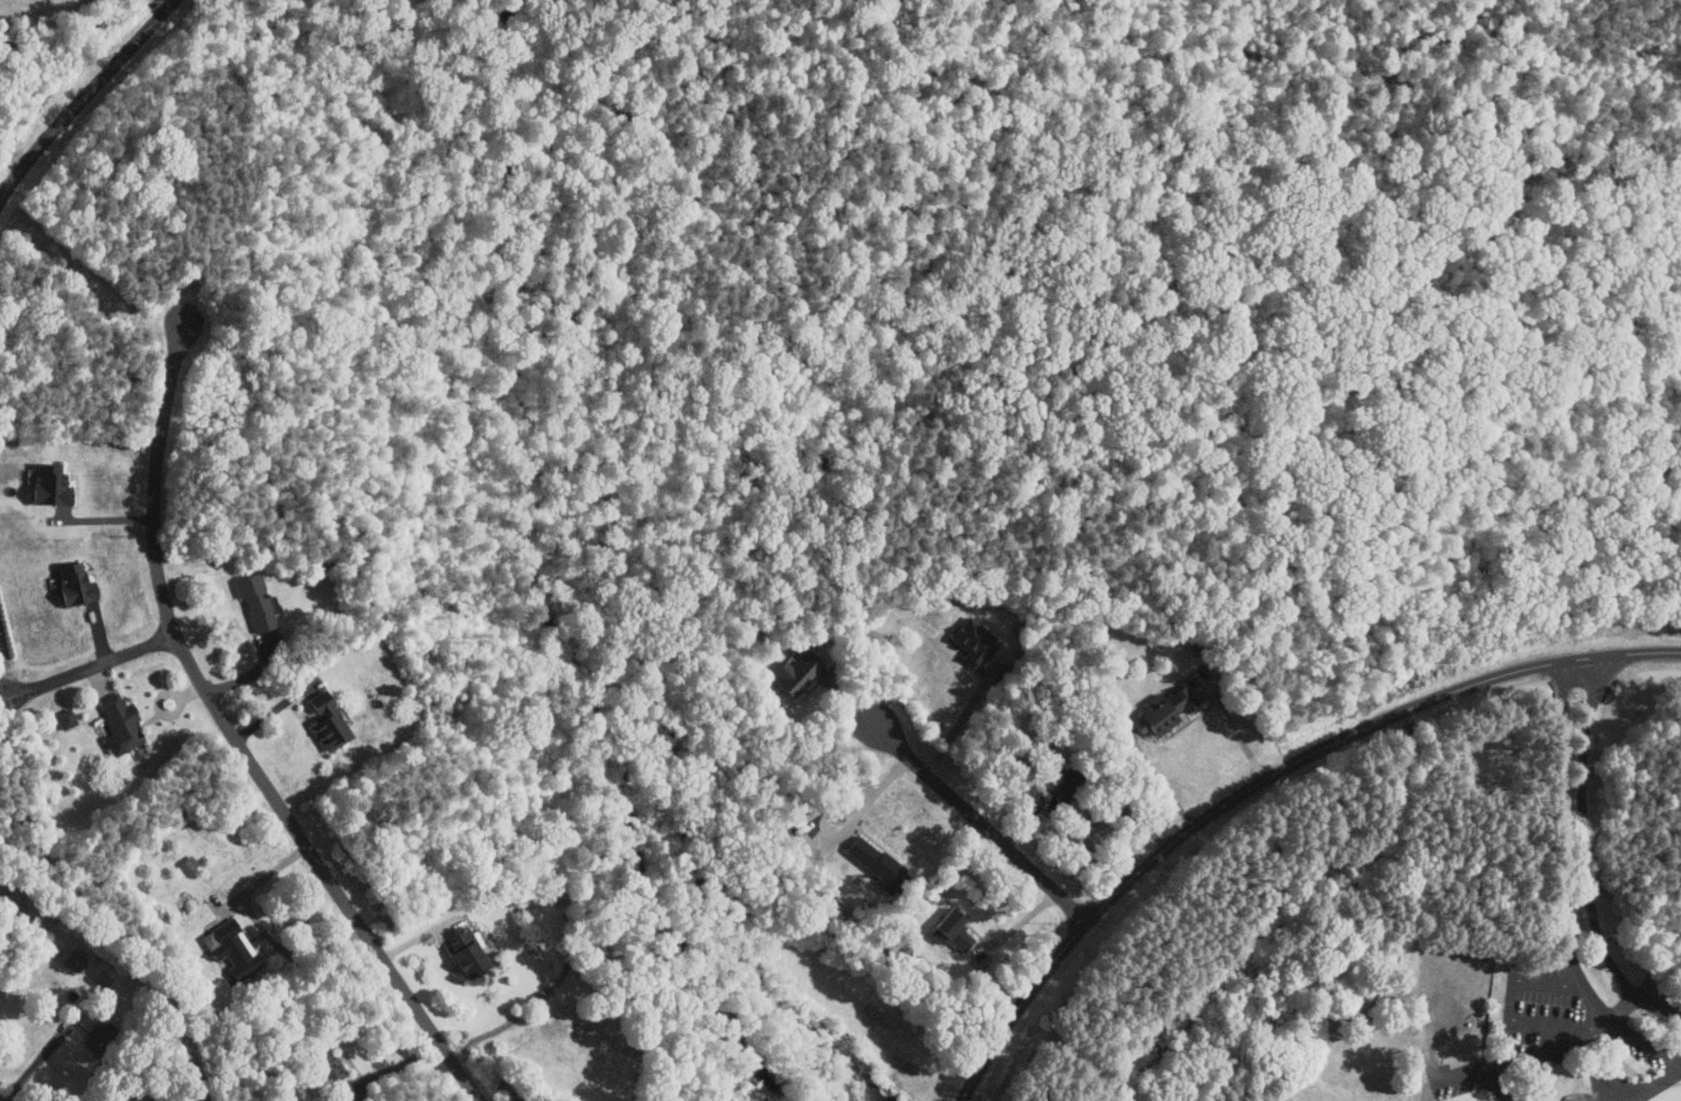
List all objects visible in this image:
road: (83, 97)
building: (46, 485)
building: (70, 583)
building: (253, 602)
building: (971, 641)
road: (94, 663)
building: (796, 673)
building: (811, 683)
building: (1161, 712)
building: (64, 718)
road: (962, 718)
building: (115, 723)
building: (324, 723)
road: (1233, 723)
road: (234, 738)
road: (1161, 779)
road: (1262, 781)
road: (876, 793)
road: (832, 807)
road: (1097, 814)
road: (983, 822)
park: (1072, 837)
road: (1586, 856)
building: (876, 862)
building: (185, 864)
road: (1557, 883)
road: (1017, 926)
building: (949, 929)
road: (266, 930)
building: (228, 947)
building: (460, 952)
building: (71, 961)
road: (1512, 987)
road: (1623, 1001)
parking lot: (1559, 1011)
road: (1594, 1023)
parking lot: (1643, 1056)
road: (1513, 1058)
road: (36, 1059)
building: (324, 1065)
road: (1609, 1074)

